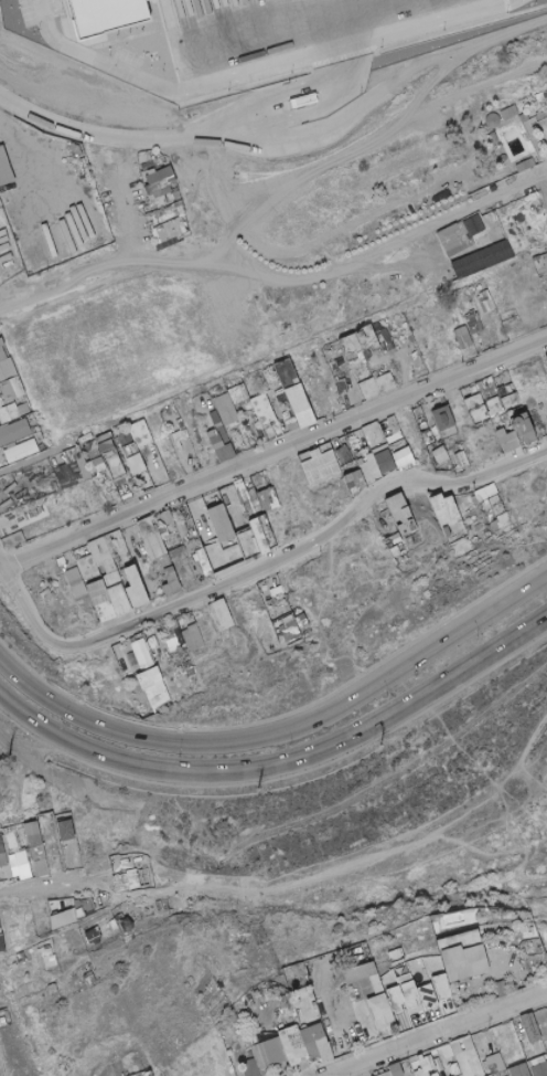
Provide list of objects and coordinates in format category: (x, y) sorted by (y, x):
parking lot: (308, 35)
crop: (329, 172)
crop: (126, 341)
power tower: (380, 738)
power tower: (8, 753)
power tower: (258, 782)

